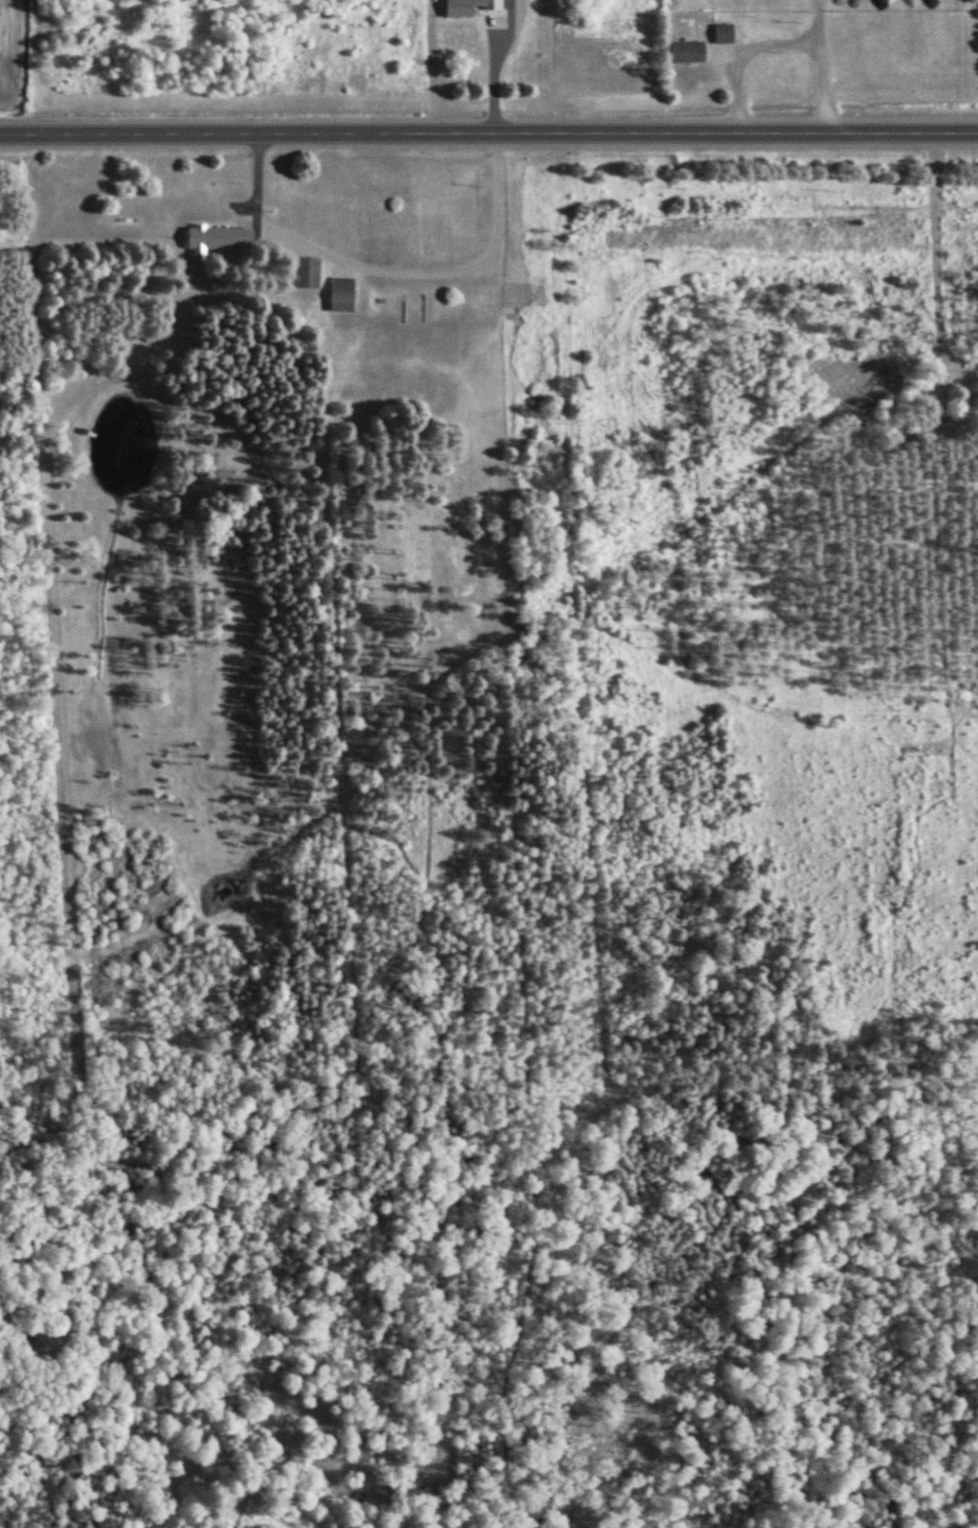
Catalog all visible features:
building: (469, 7)
building: (725, 33)
building: (688, 52)
road: (489, 134)
building: (218, 239)
road: (387, 271)
building: (309, 272)
building: (344, 294)
building: (952, 424)

